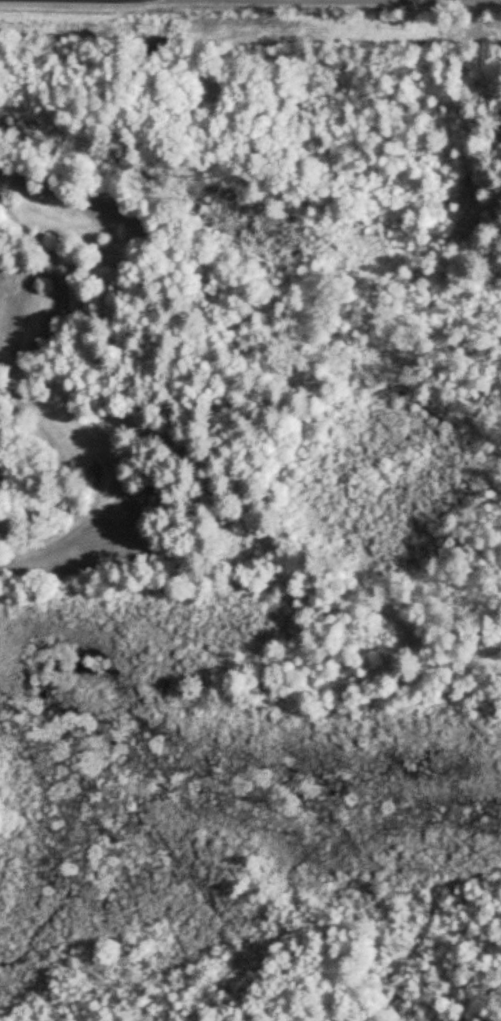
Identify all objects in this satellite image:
road: (424, 1)
building: (454, 201)

